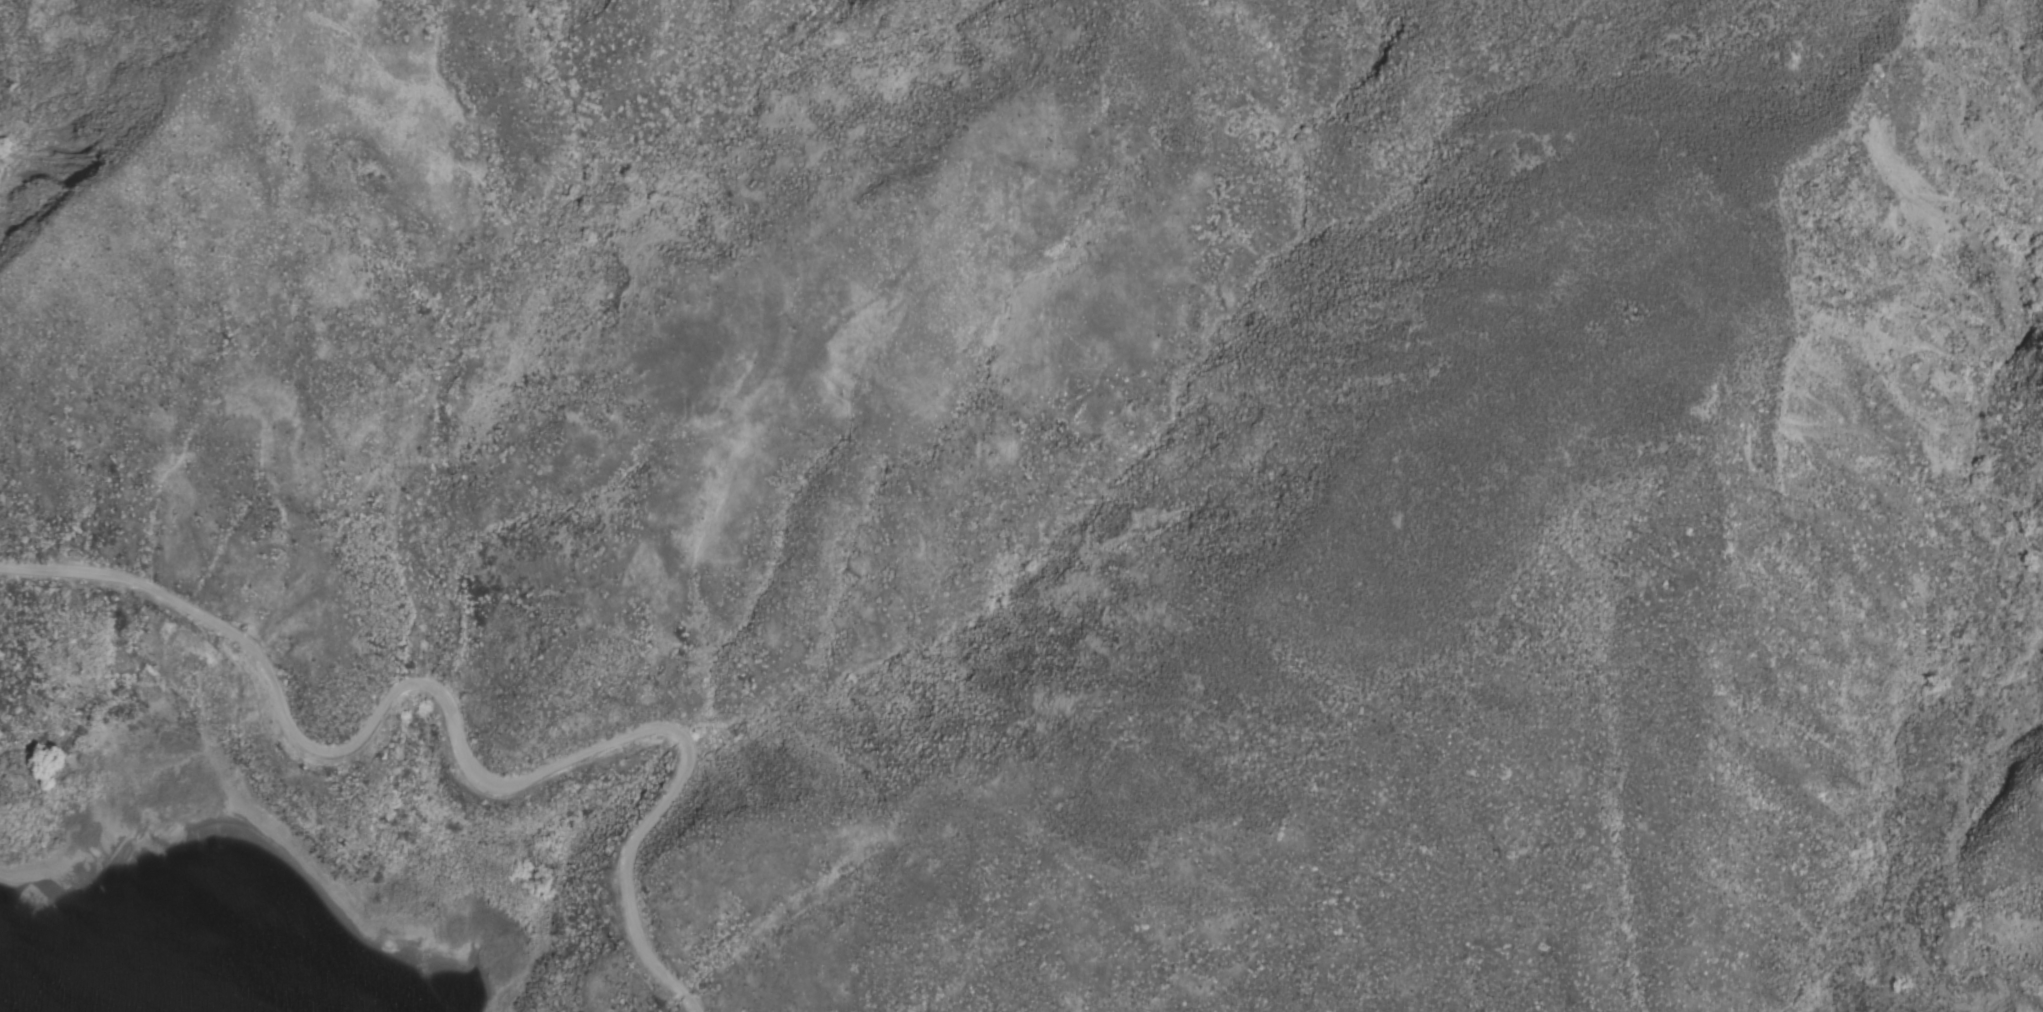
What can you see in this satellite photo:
road: (450, 722)

